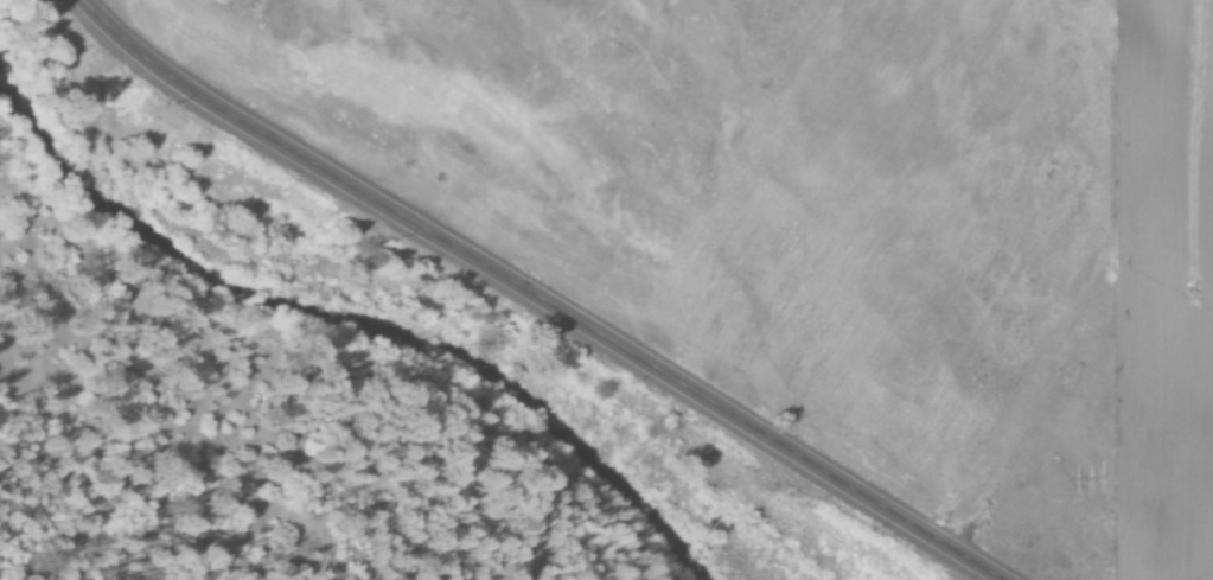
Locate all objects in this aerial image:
road: (535, 299)
river: (370, 319)

